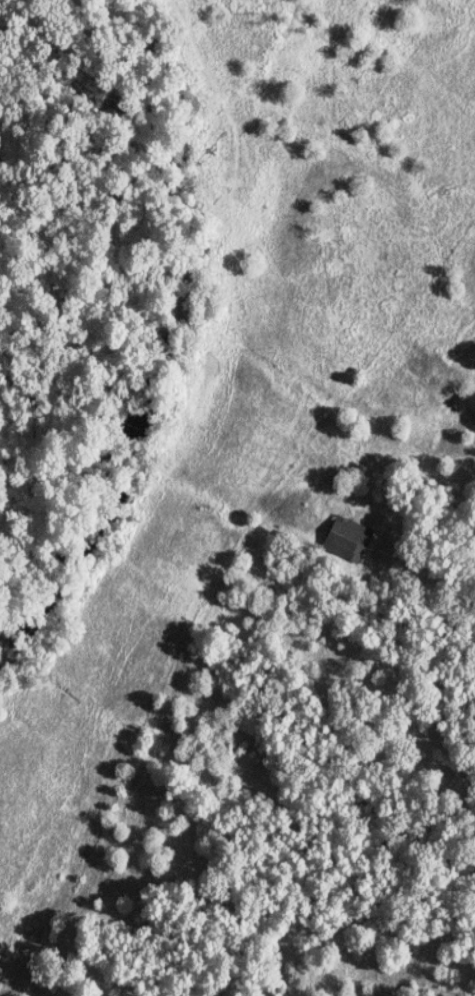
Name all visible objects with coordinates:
building: (351, 538)
road: (204, 620)

